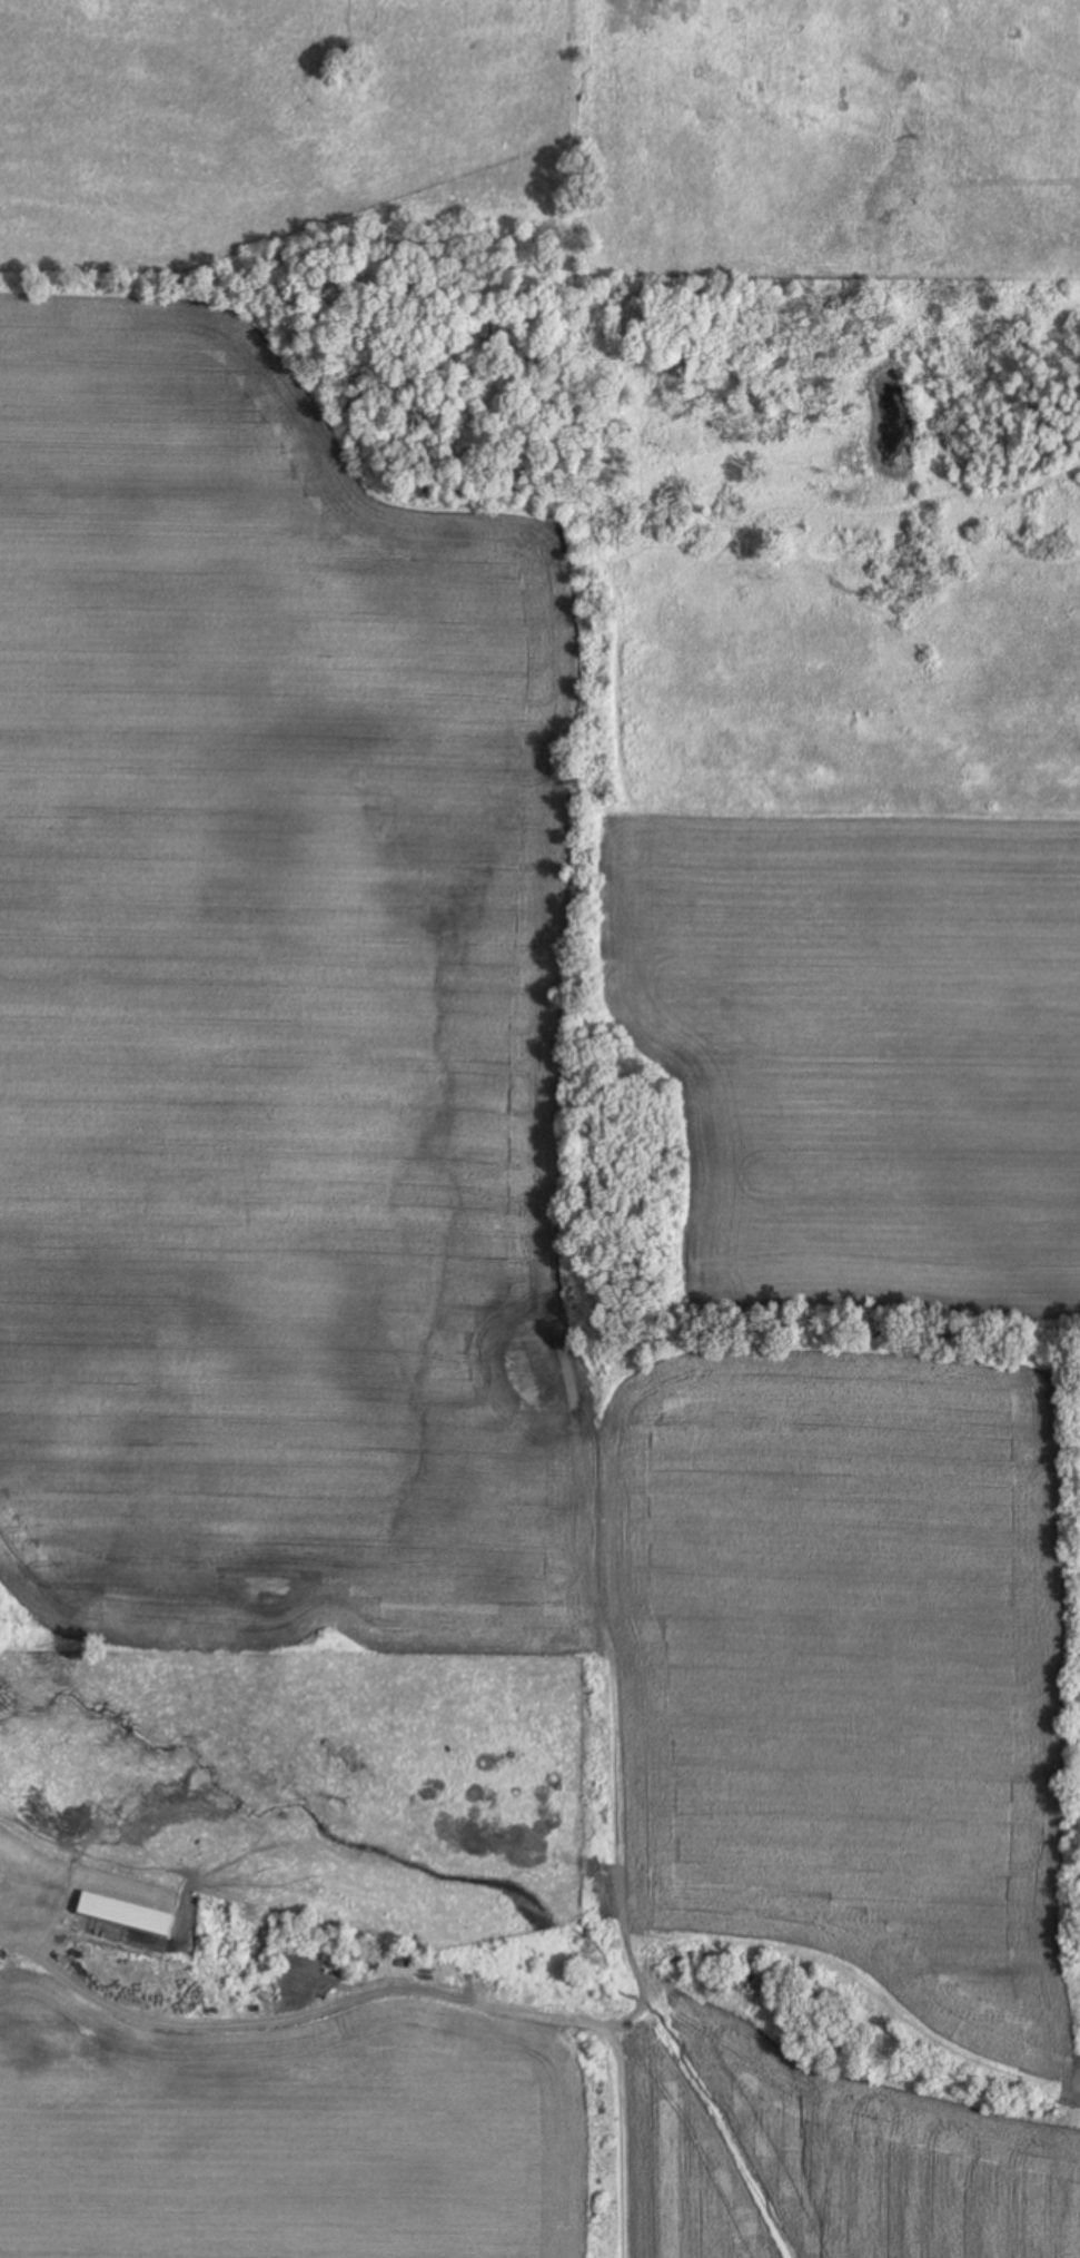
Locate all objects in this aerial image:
building: (123, 1914)
building: (17, 2089)

